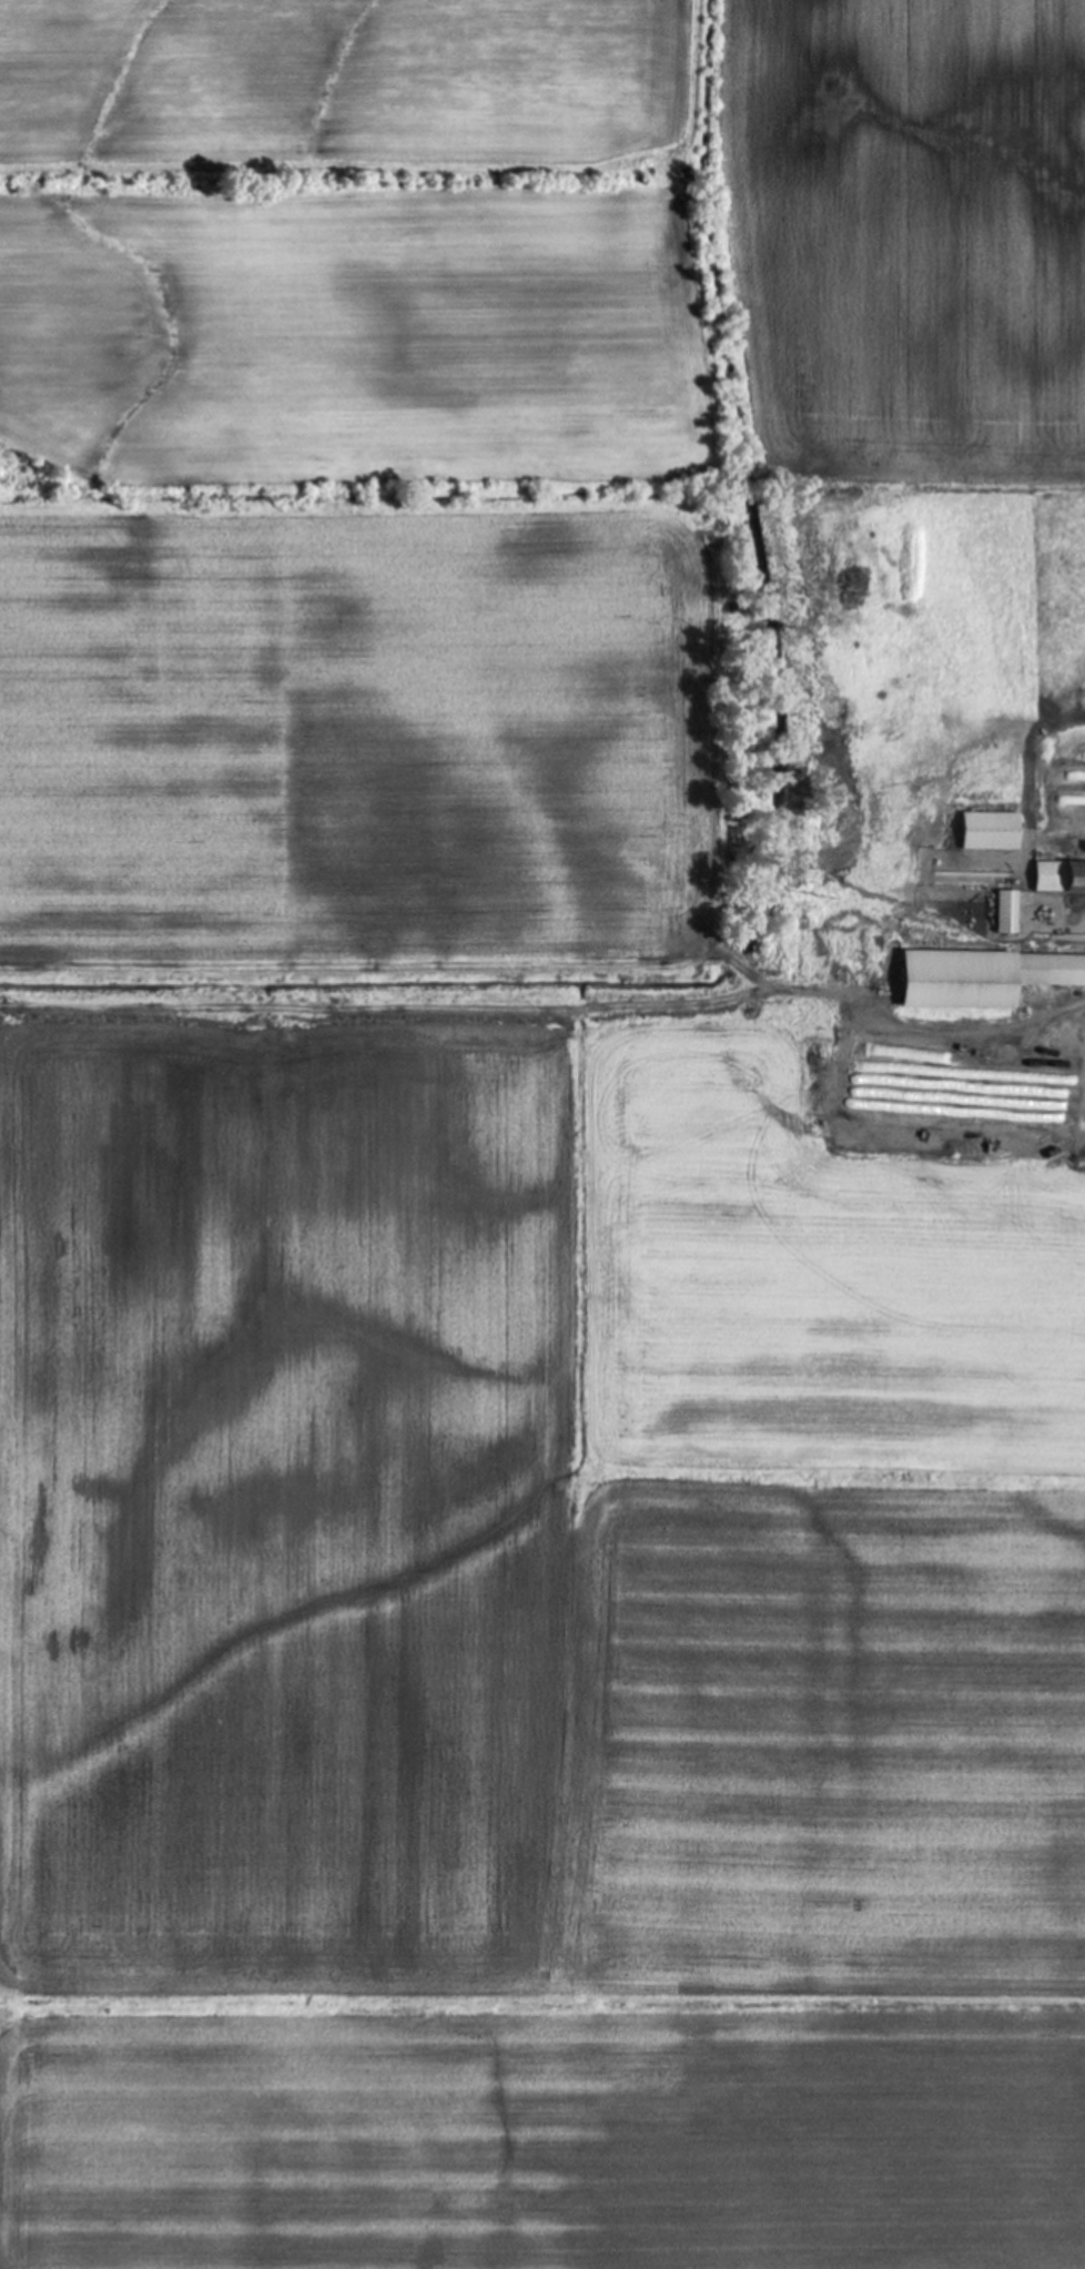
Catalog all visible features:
building: (1076, 767)
building: (985, 830)
building: (1057, 877)
building: (1003, 911)
building: (978, 978)

